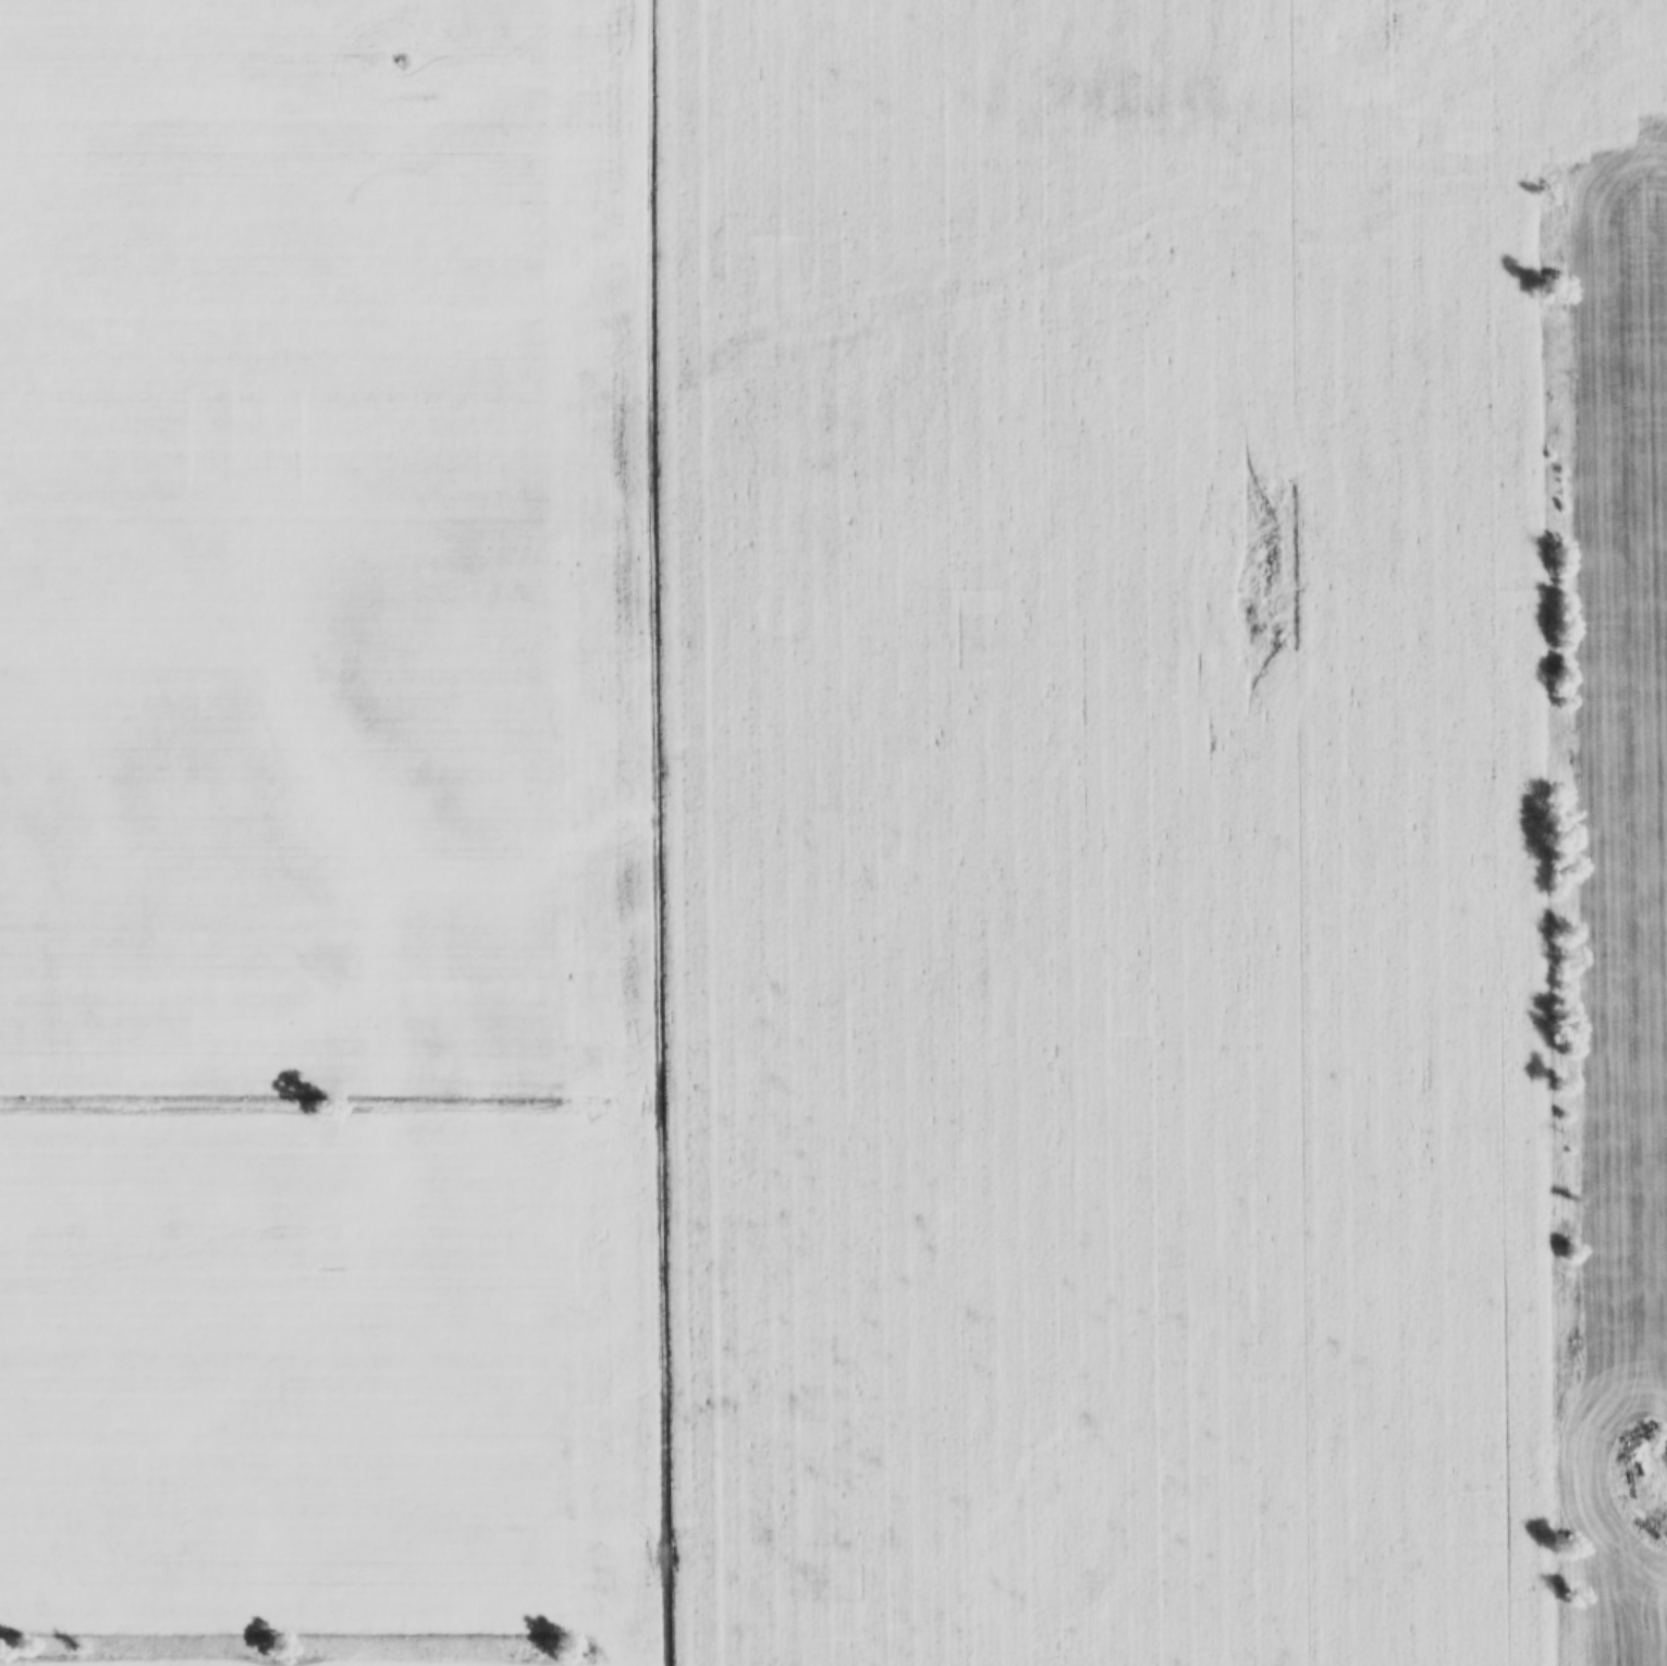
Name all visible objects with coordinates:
road: (651, 832)

